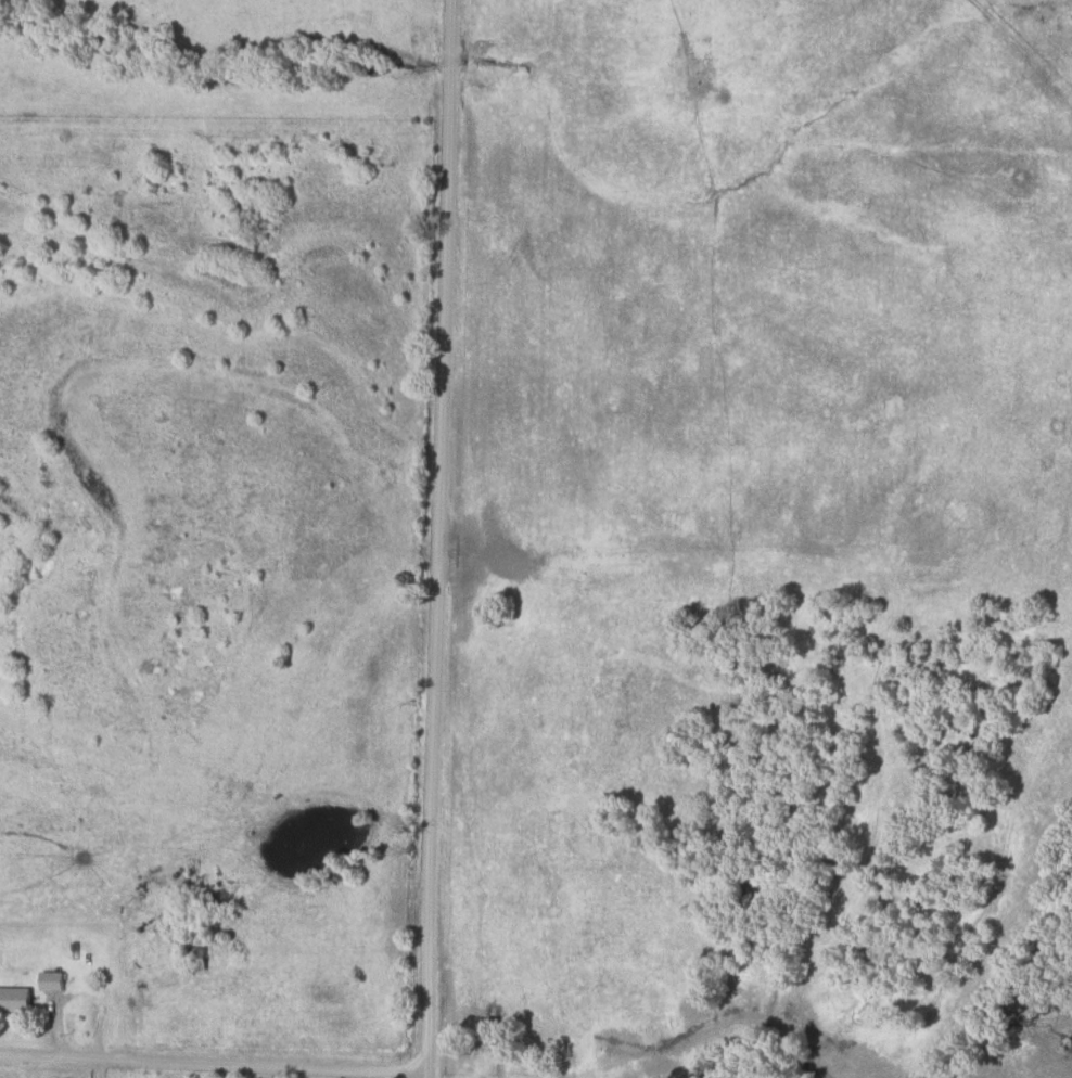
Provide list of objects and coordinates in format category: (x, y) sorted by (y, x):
road: (443, 538)
building: (199, 960)
building: (55, 983)
building: (16, 1001)
road: (215, 1058)
road: (9, 1064)
road: (94, 1065)

